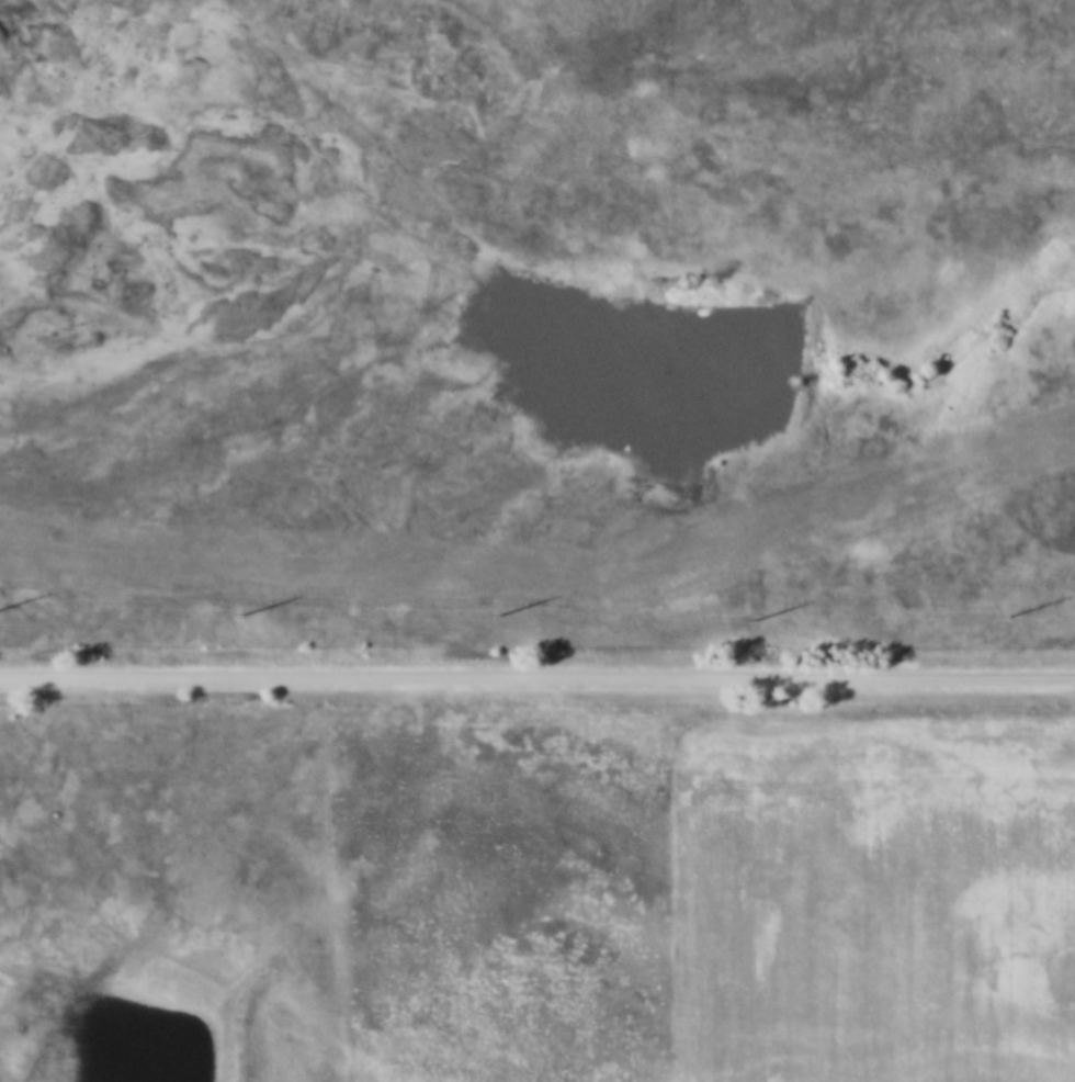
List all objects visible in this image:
road: (537, 679)

